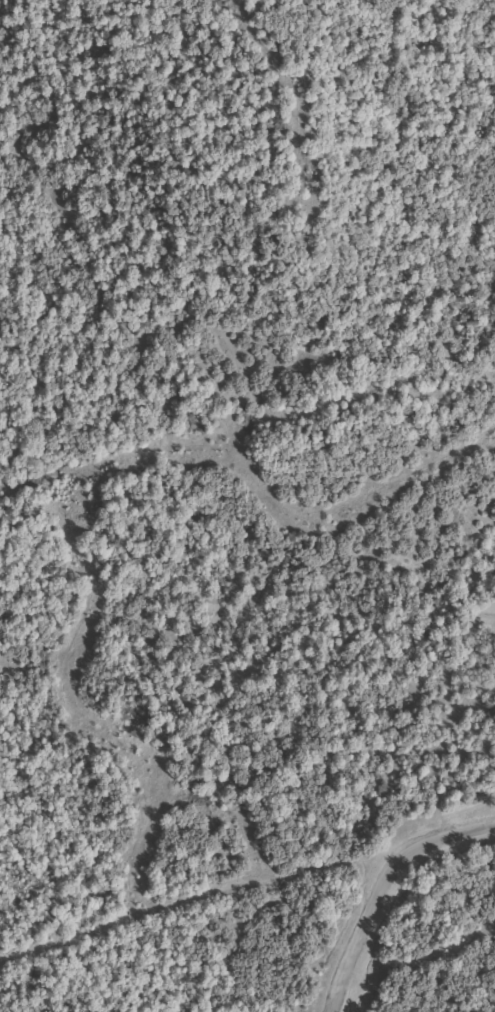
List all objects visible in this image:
road: (378, 884)

